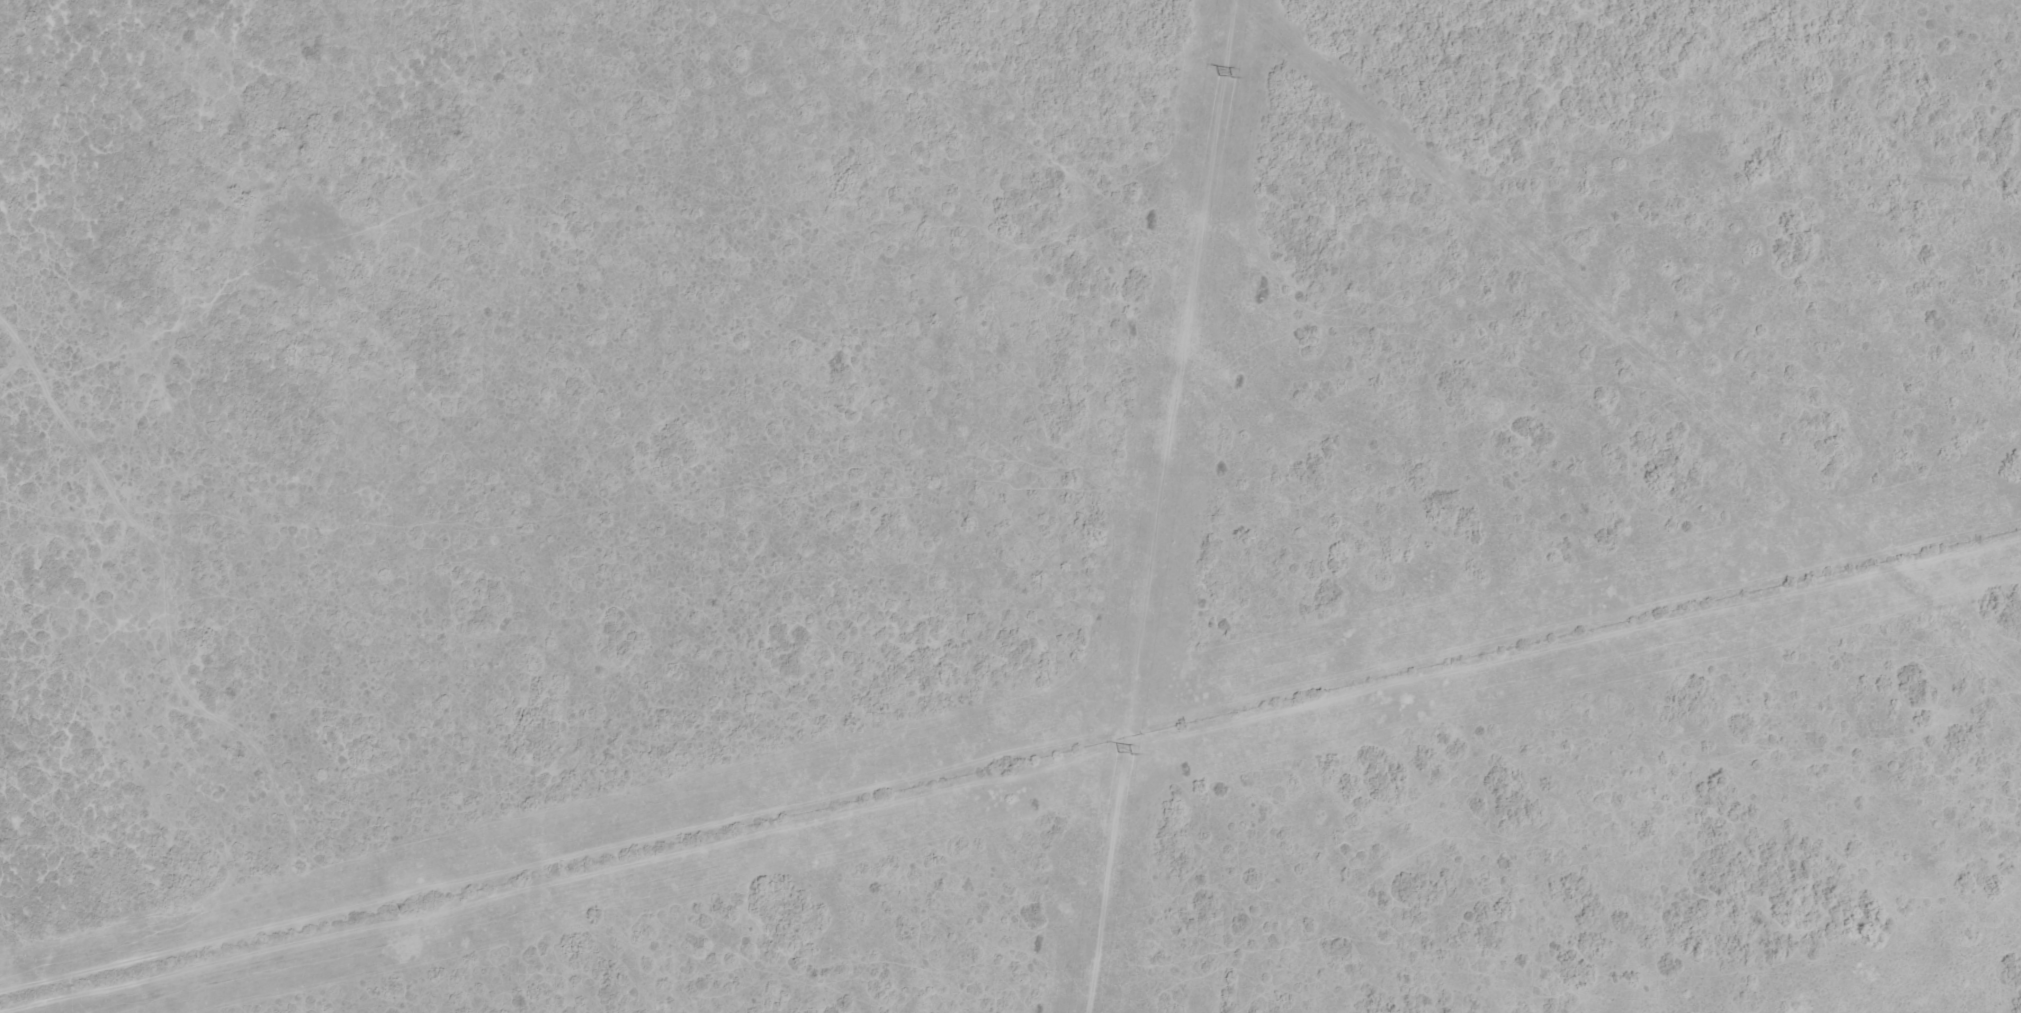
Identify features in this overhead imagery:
power tower: (1224, 76)
power tower: (1121, 753)

